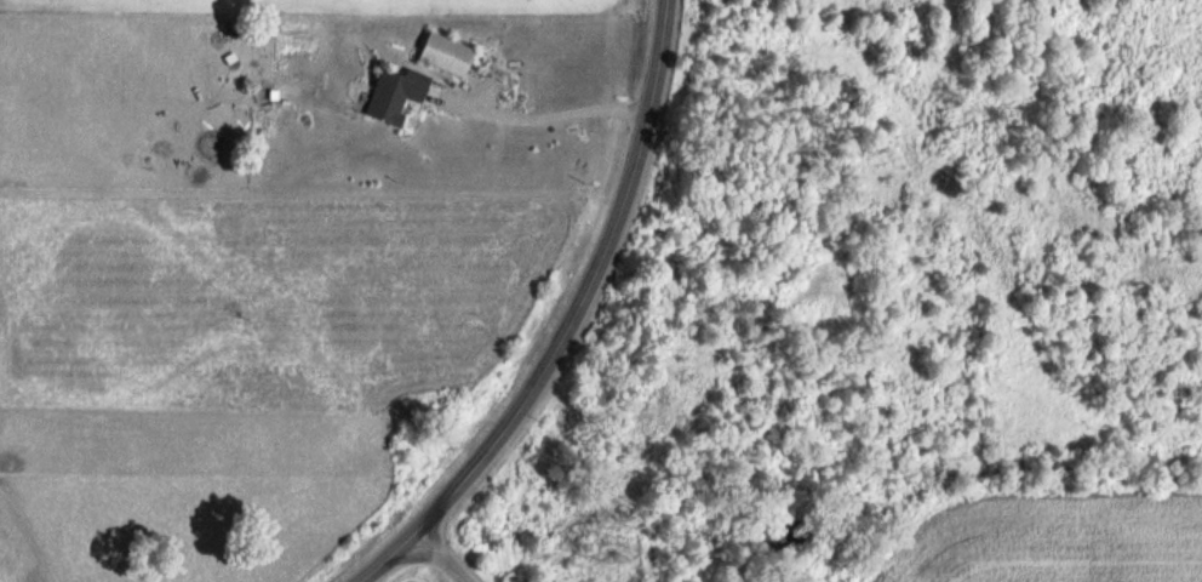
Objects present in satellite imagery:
building: (441, 55)
building: (390, 96)
road: (554, 113)
road: (574, 321)
road: (21, 537)
road: (441, 557)

